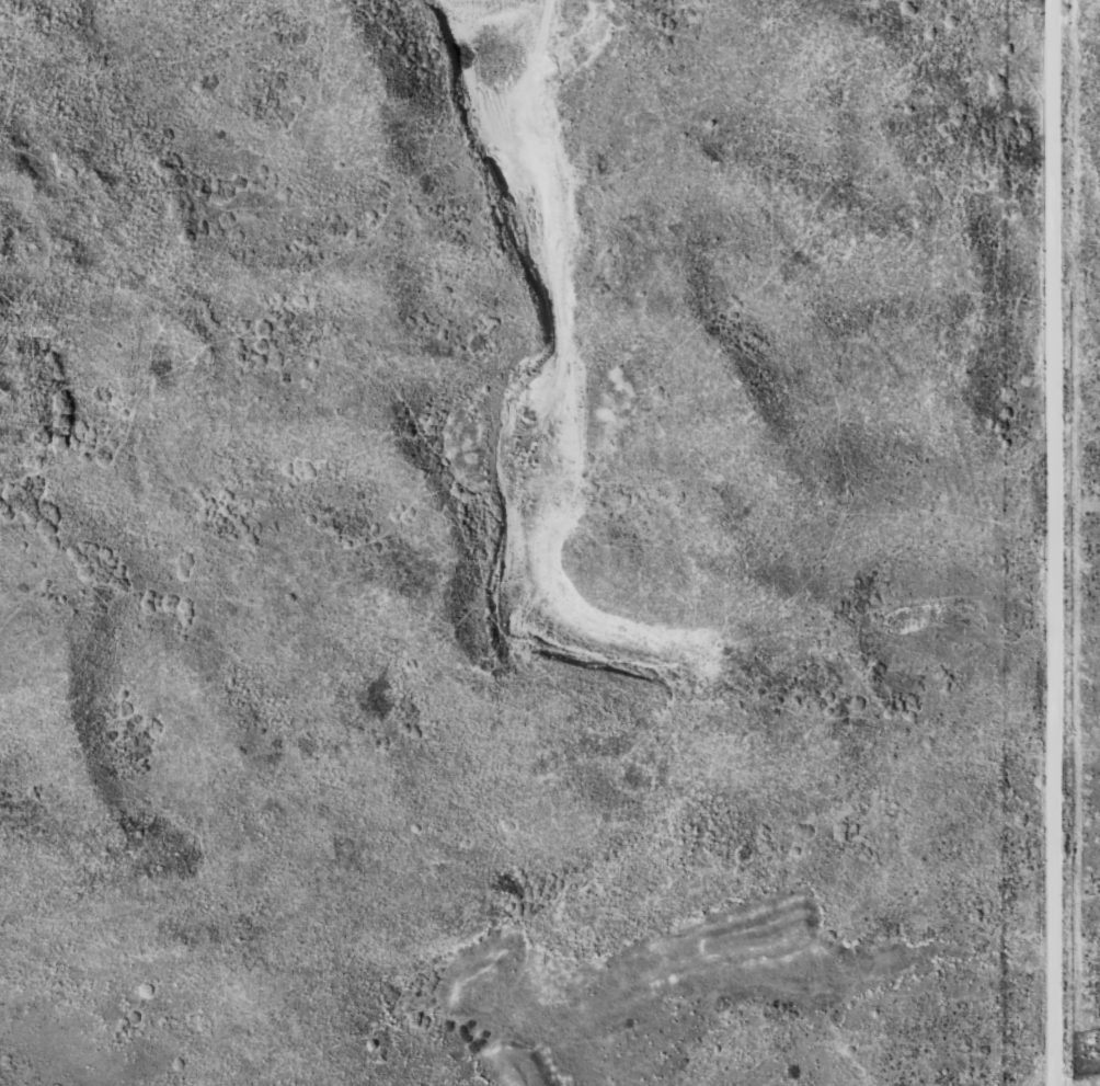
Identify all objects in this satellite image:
road: (1055, 542)

